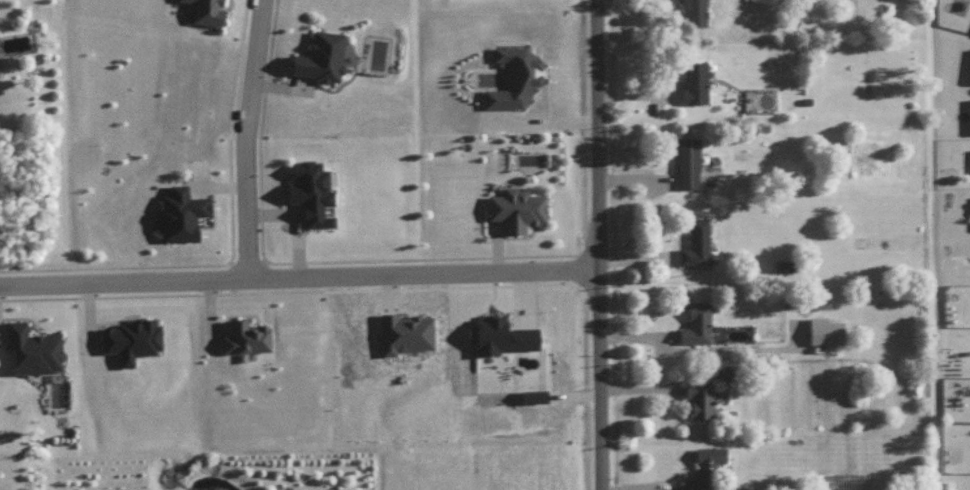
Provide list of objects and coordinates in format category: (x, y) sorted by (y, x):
building: (207, 11)
building: (694, 12)
building: (321, 56)
building: (516, 77)
building: (695, 81)
road: (546, 122)
road: (246, 138)
building: (688, 161)
building: (311, 191)
building: (517, 208)
building: (181, 212)
building: (696, 242)
road: (597, 245)
road: (299, 275)
building: (697, 322)
building: (825, 330)
building: (405, 332)
building: (502, 335)
building: (247, 336)
building: (131, 338)
building: (33, 348)
building: (534, 395)
building: (700, 398)
building: (706, 467)

